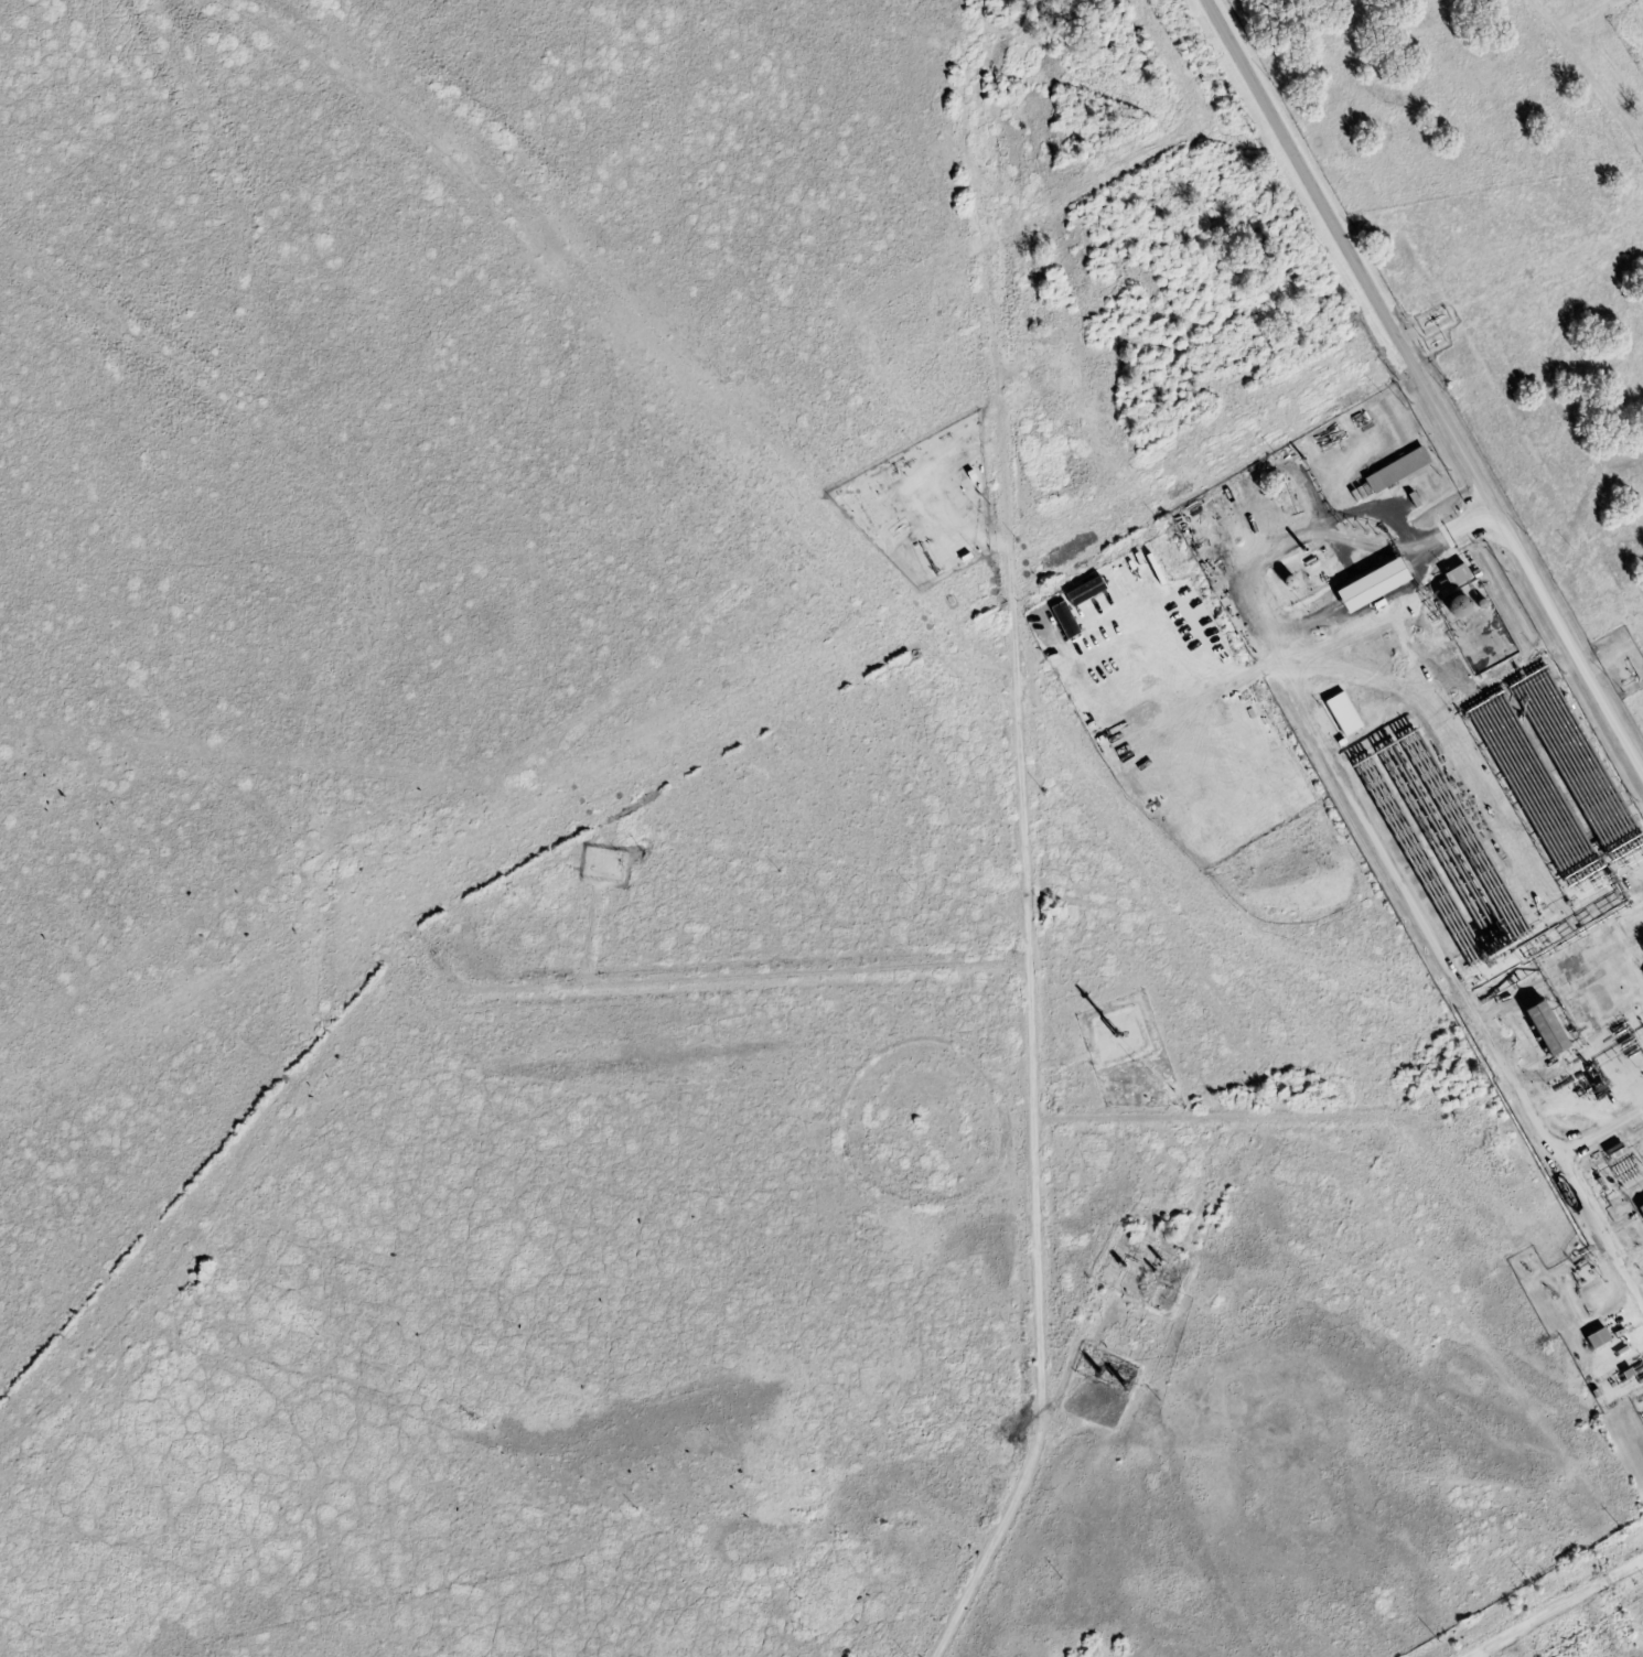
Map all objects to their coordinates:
road: (1425, 383)
building: (1397, 470)
building: (1457, 575)
building: (1124, 584)
building: (1371, 584)
building: (1084, 591)
building: (1065, 620)
building: (1343, 713)
helipad: (1591, 844)
road: (1388, 856)
helipad: (1612, 881)
road: (724, 979)
building: (1545, 1029)
road: (1033, 1039)
road: (1303, 1118)
road: (1602, 1133)
building: (1641, 1209)
building: (1597, 1338)
road: (1597, 1376)
road: (20, 1496)
road: (1558, 1608)

